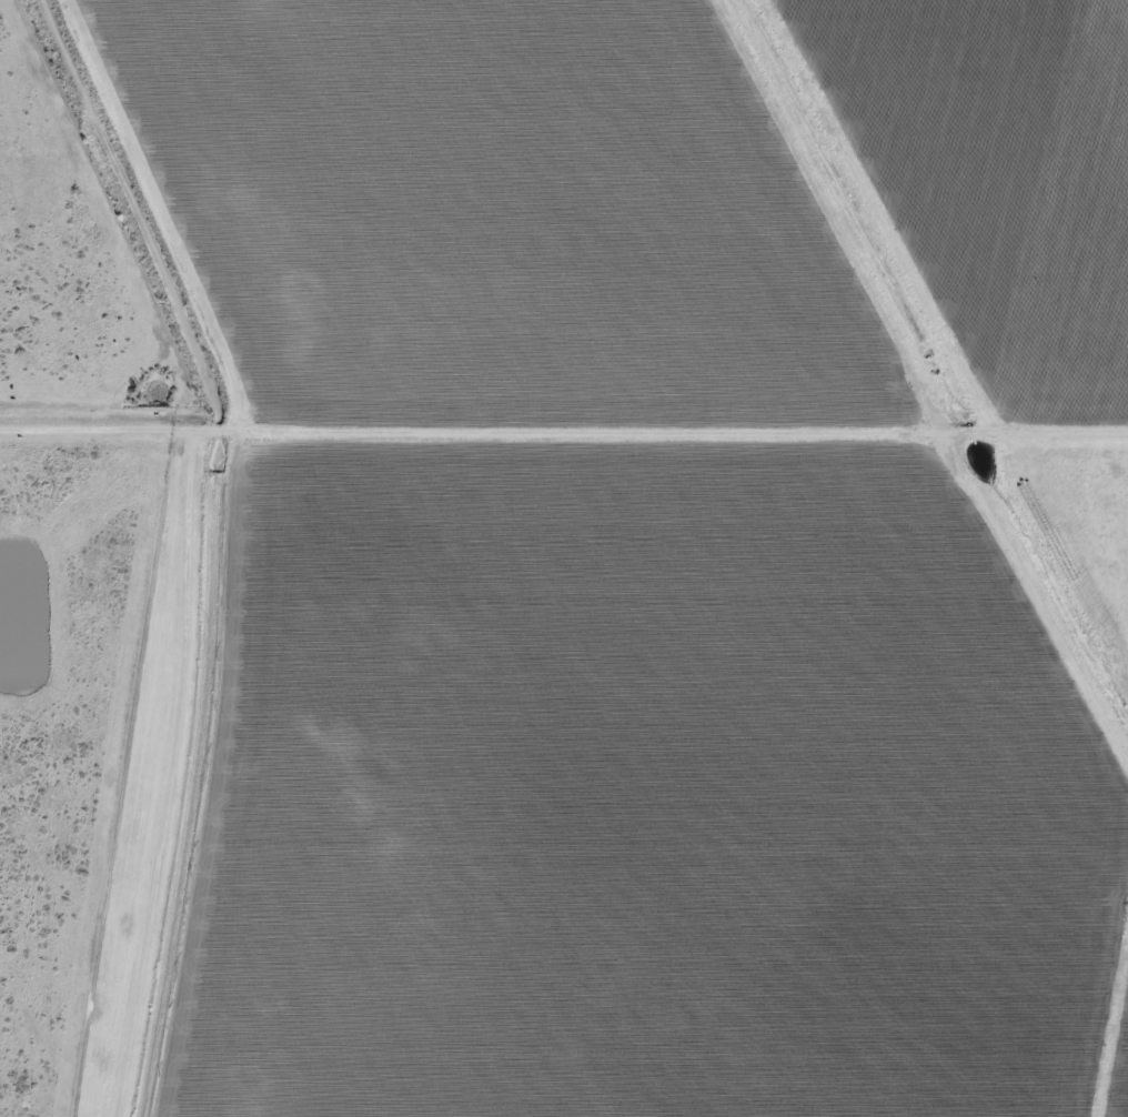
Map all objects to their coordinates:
road: (564, 435)
road: (1037, 603)
road: (180, 776)

